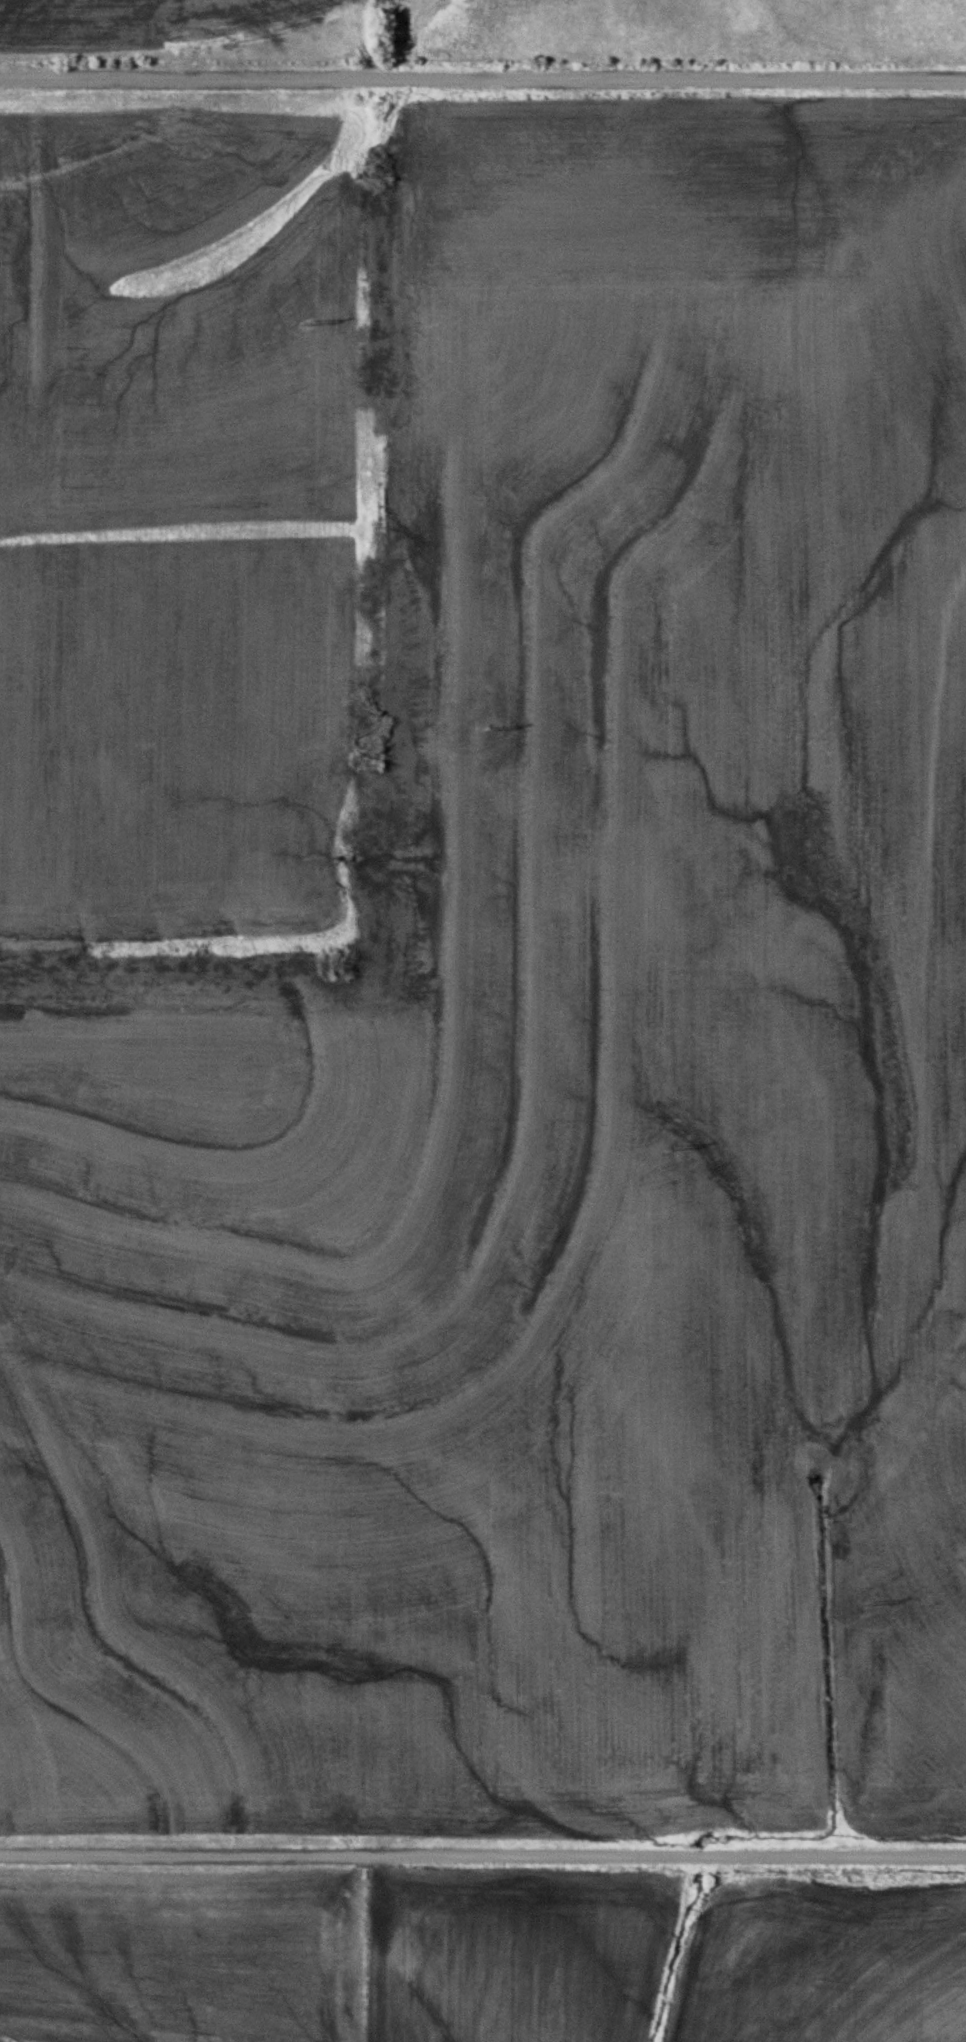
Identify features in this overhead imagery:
road: (483, 80)
road: (483, 1855)

